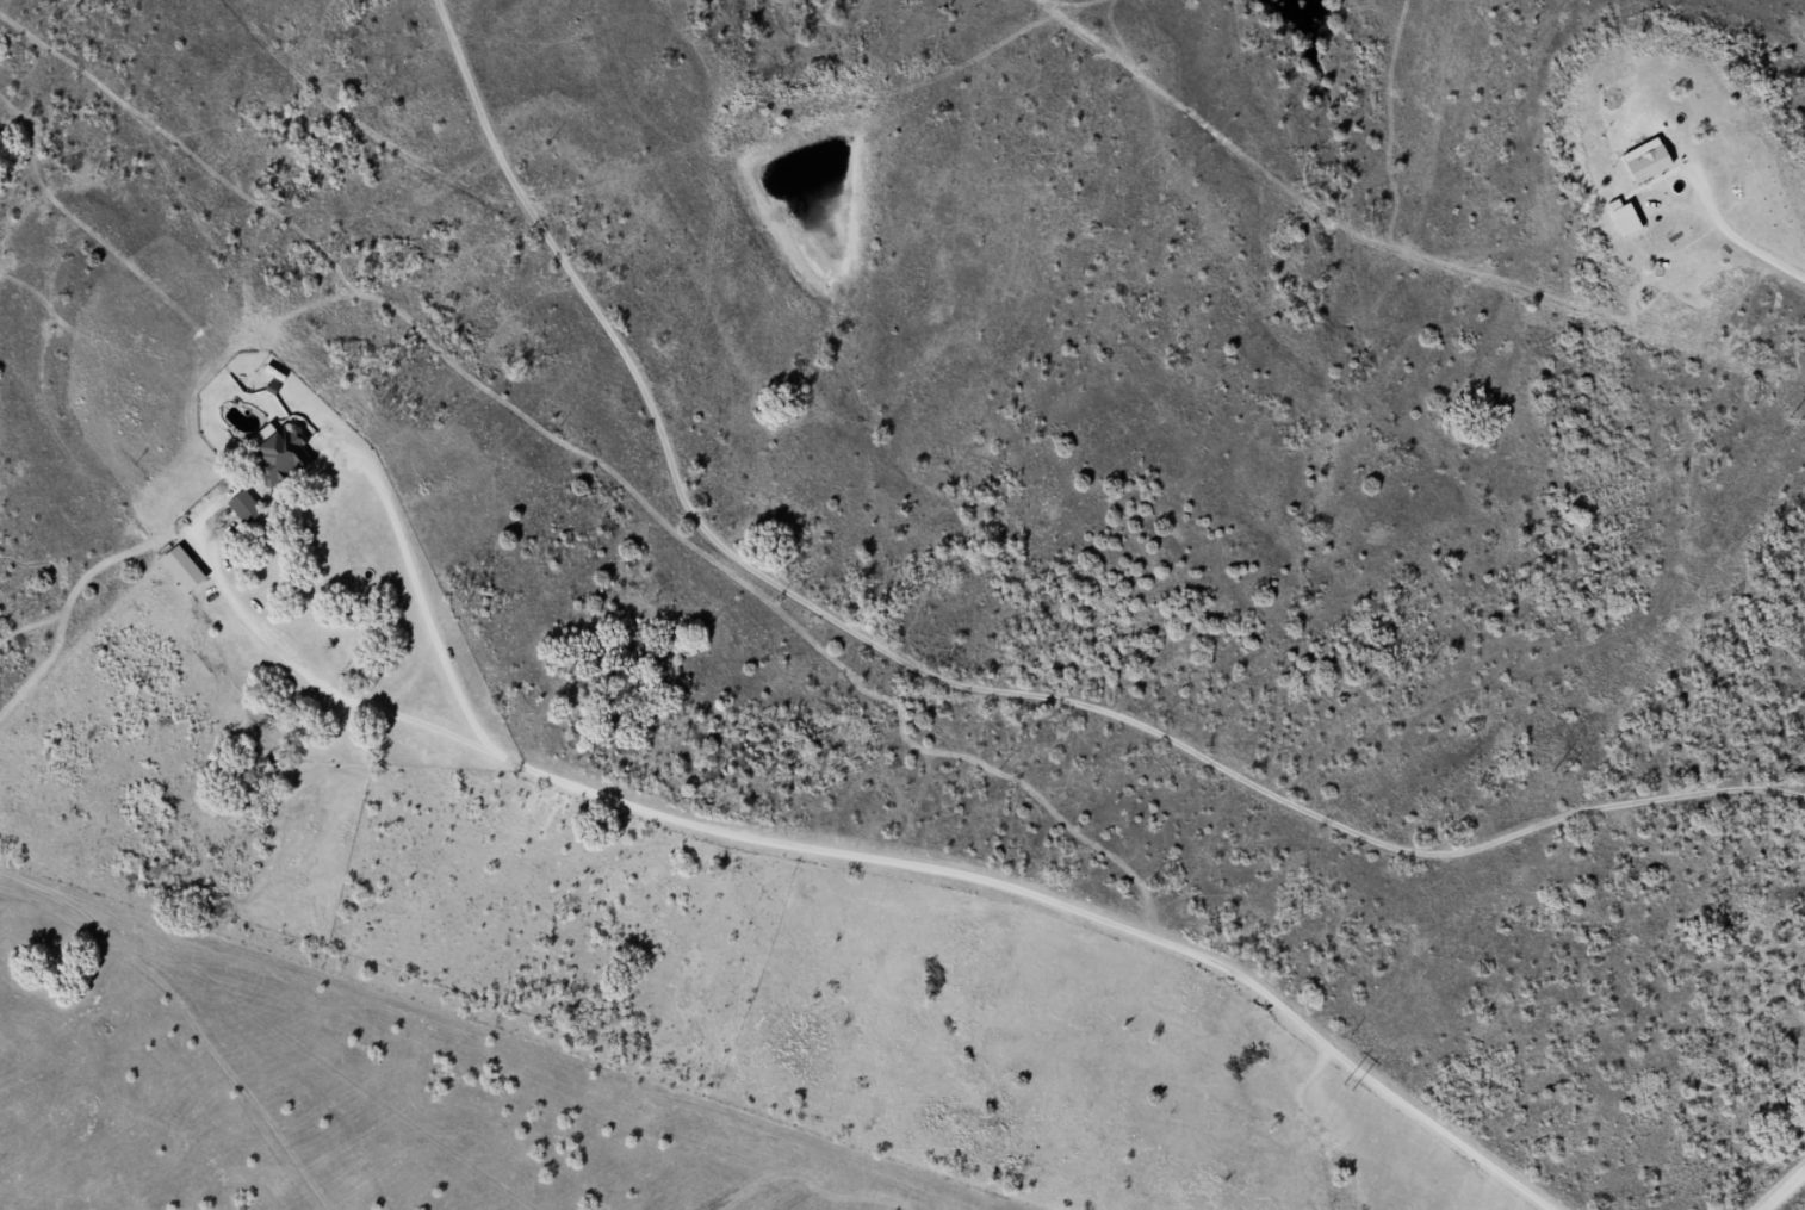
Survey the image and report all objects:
building: (1639, 157)
power tower: (1793, 418)
building: (283, 457)
building: (186, 567)
road: (824, 584)
building: (358, 607)
building: (368, 678)
power tower: (1555, 772)
road: (1626, 802)
power tower: (1344, 1085)
road: (1788, 1195)

